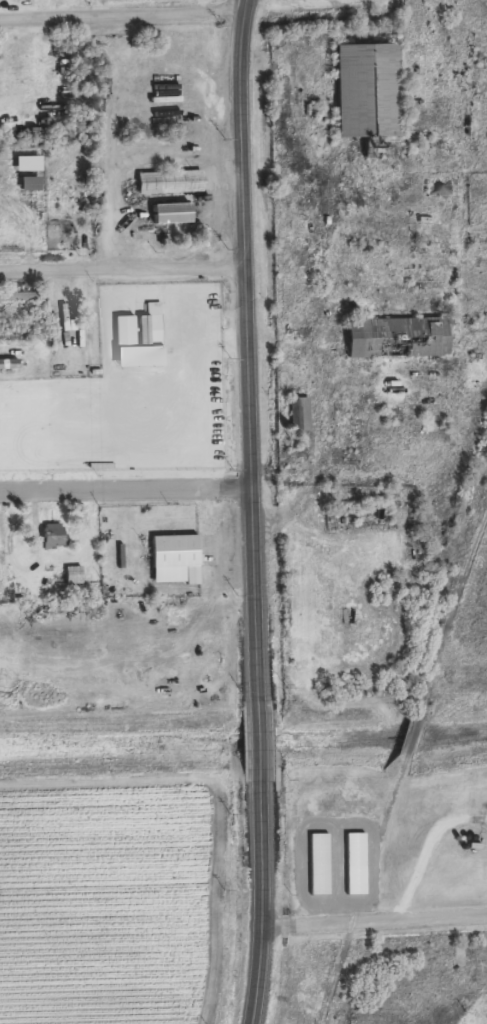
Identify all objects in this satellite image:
road: (245, 6)
road: (248, 6)
road: (123, 16)
building: (371, 91)
building: (31, 164)
building: (172, 182)
building: (33, 184)
building: (174, 213)
building: (413, 245)
road: (123, 275)
building: (20, 296)
building: (70, 316)
building: (142, 328)
building: (401, 338)
building: (303, 412)
building: (209, 450)
building: (13, 455)
building: (73, 460)
road: (129, 491)
road: (260, 518)
building: (3, 532)
building: (56, 535)
building: (178, 558)
building: (75, 575)
railway: (401, 771)
building: (322, 863)
building: (486, 870)
road: (377, 921)

